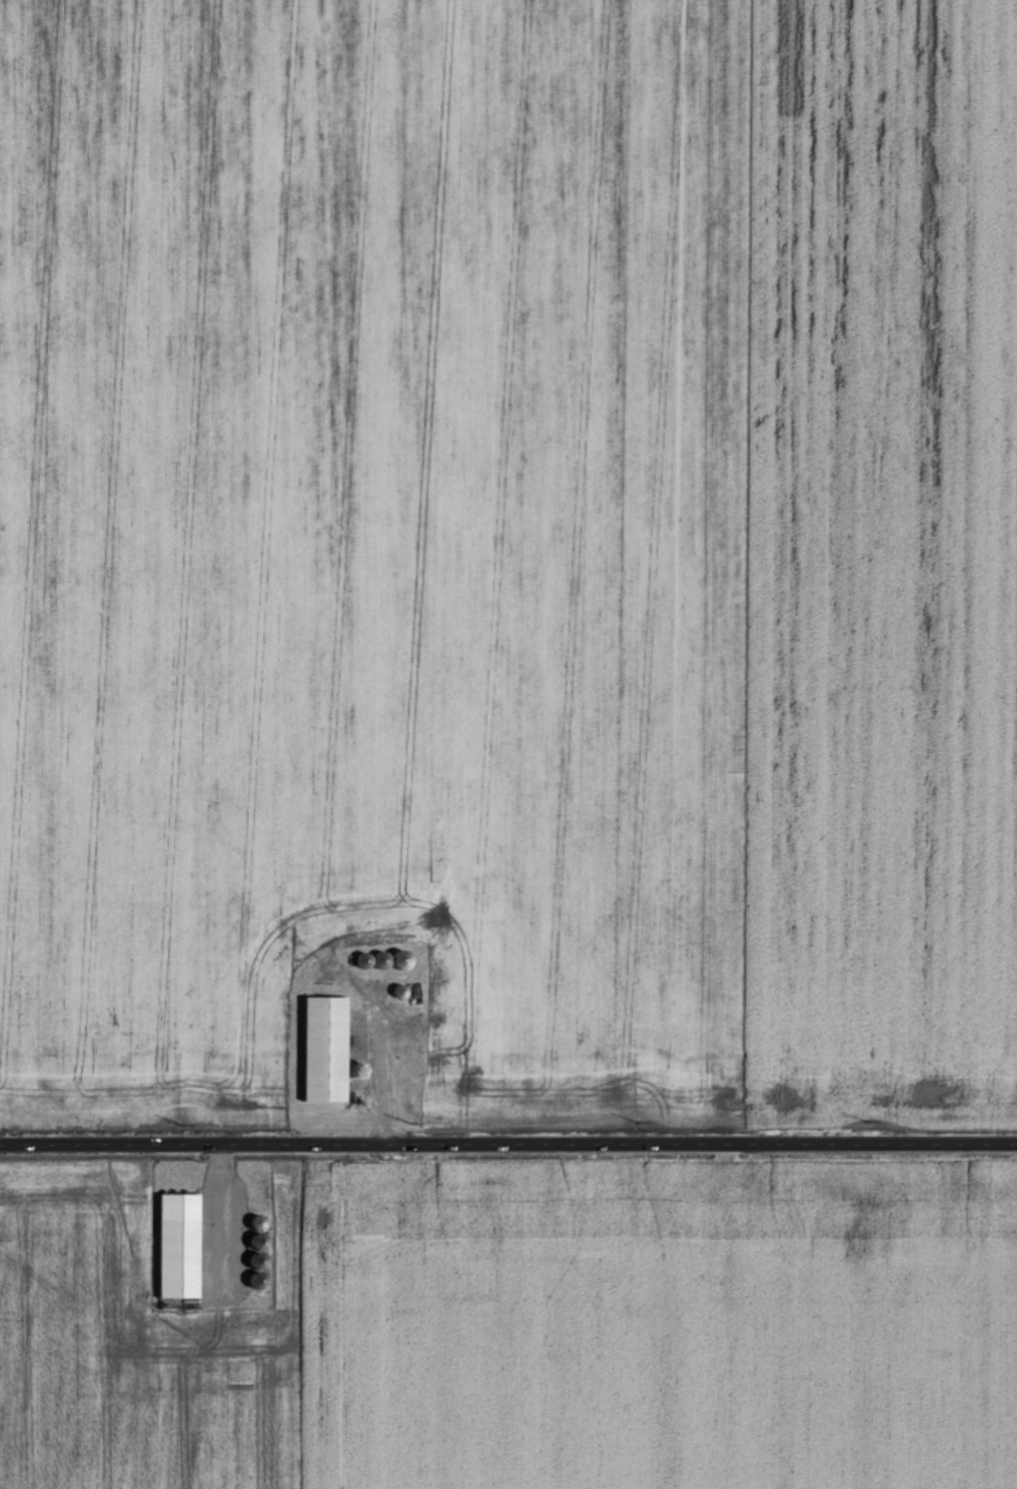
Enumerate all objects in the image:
building: (332, 1051)
road: (508, 1147)
building: (185, 1248)

